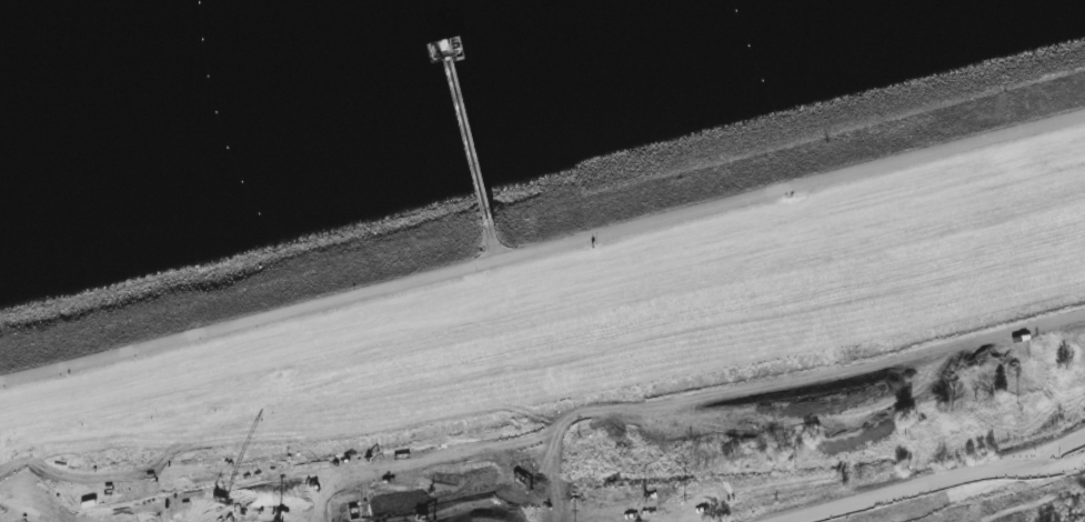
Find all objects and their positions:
road: (448, 37)
road: (470, 134)
road: (494, 235)
road: (542, 248)
dam: (573, 280)
road: (932, 482)

